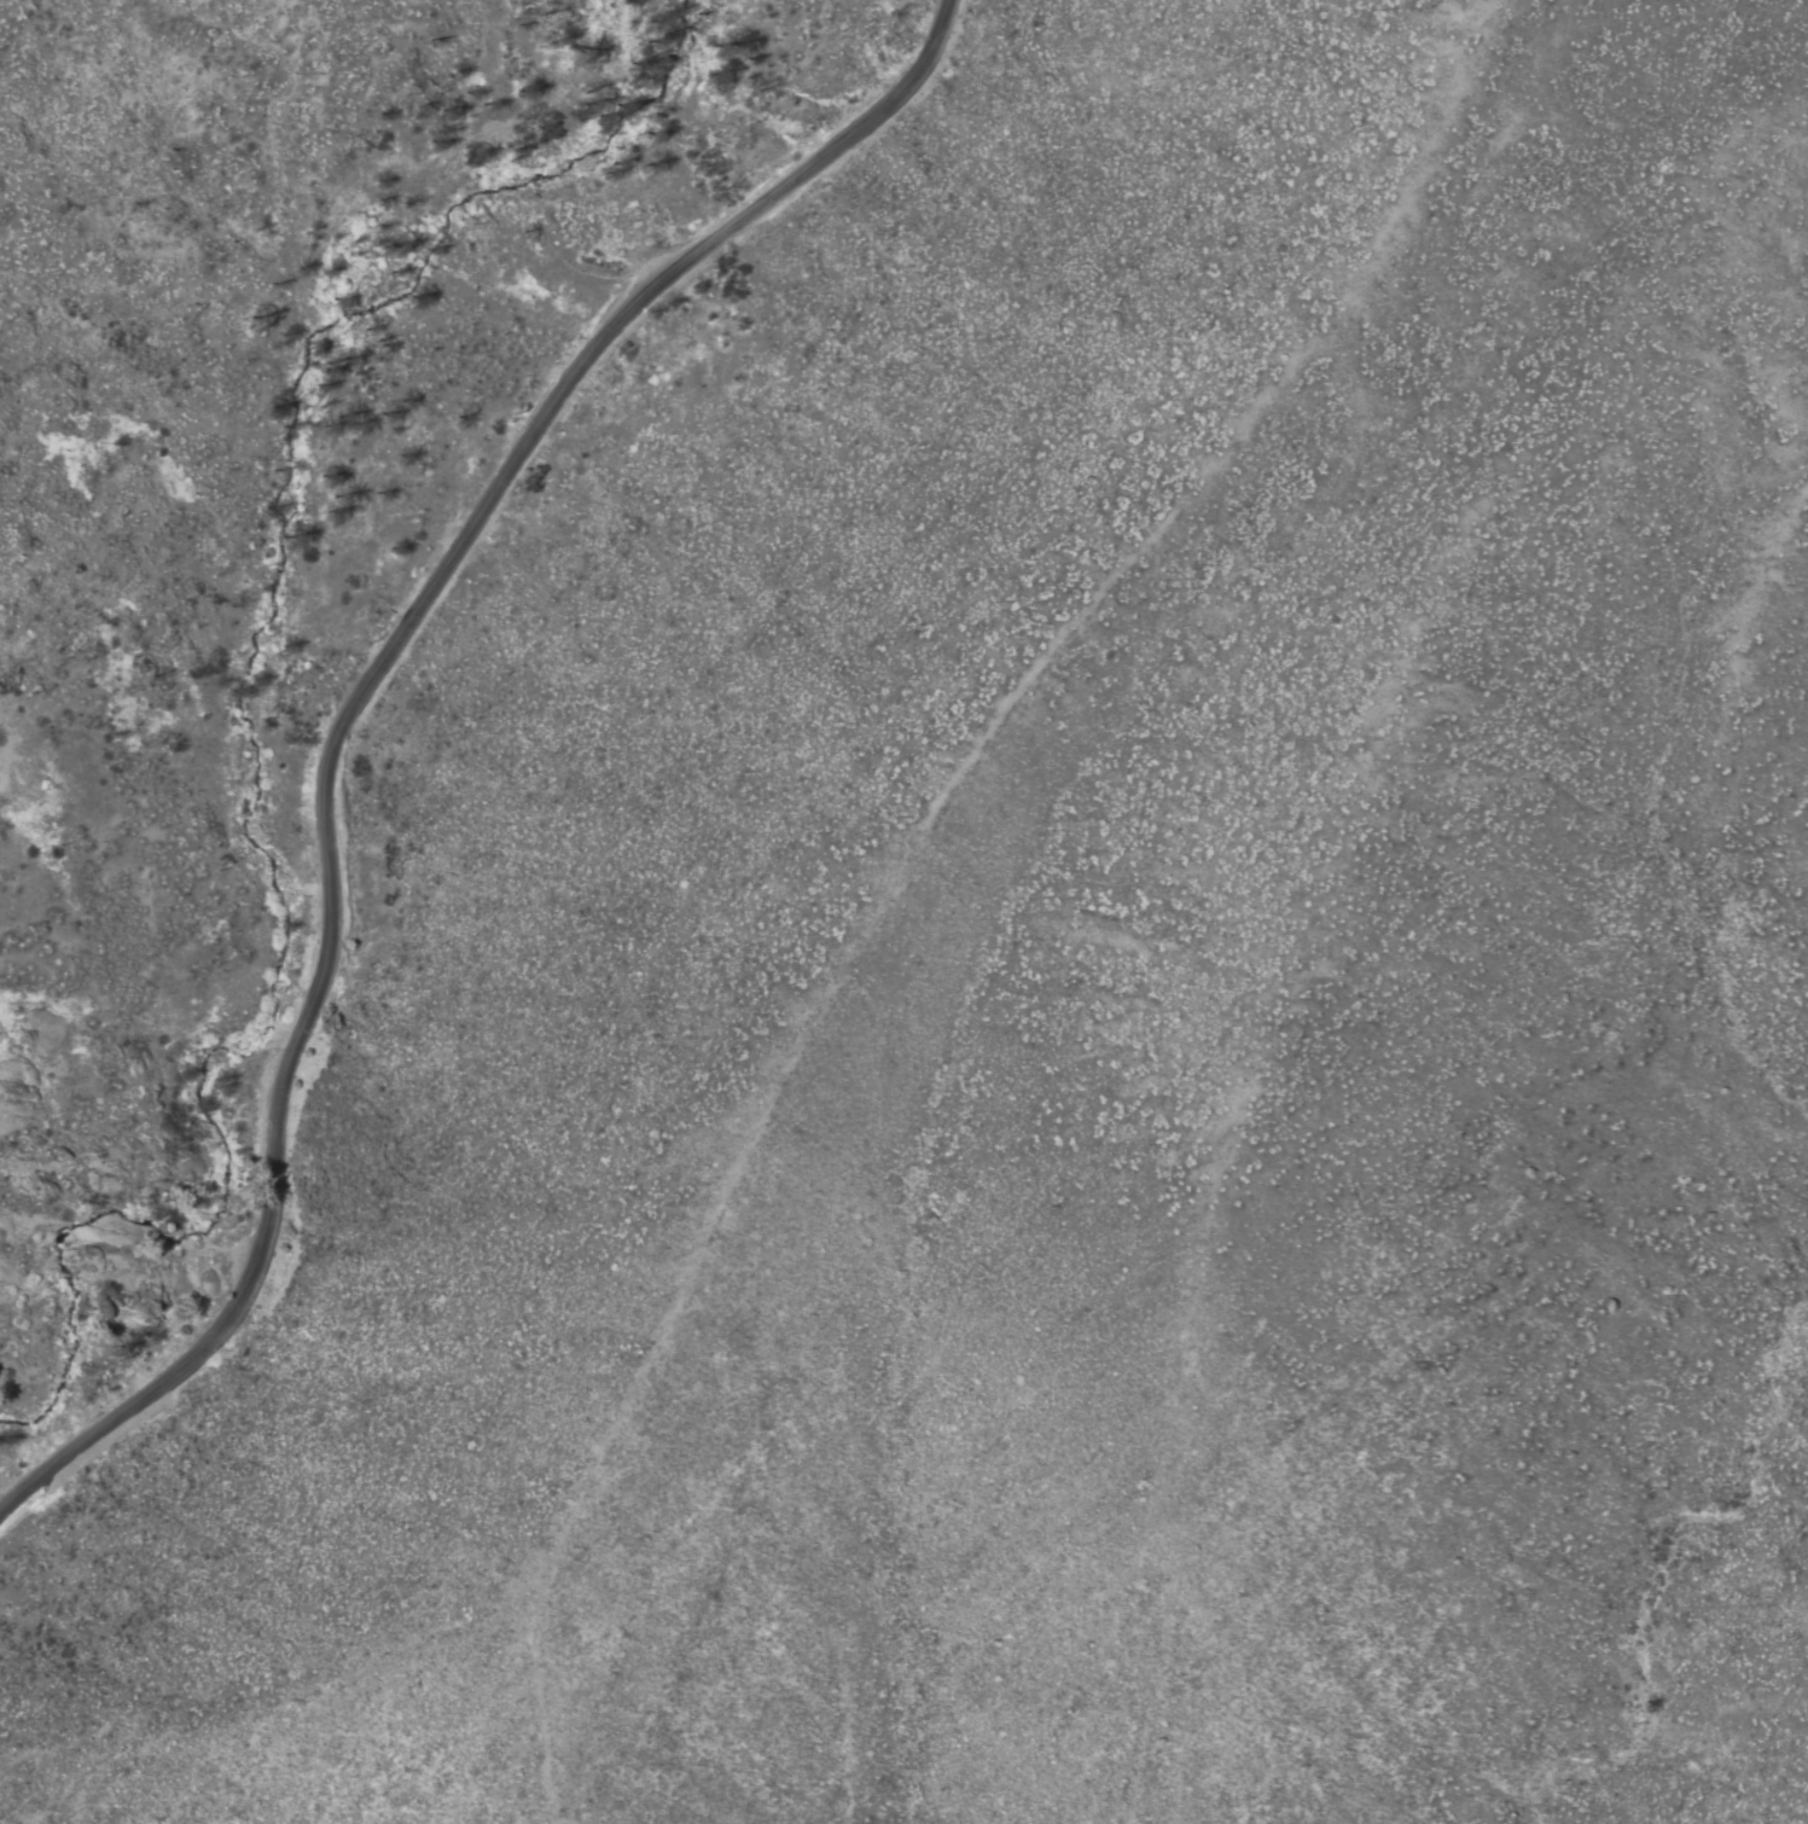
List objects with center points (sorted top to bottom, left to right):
road: (356, 708)

